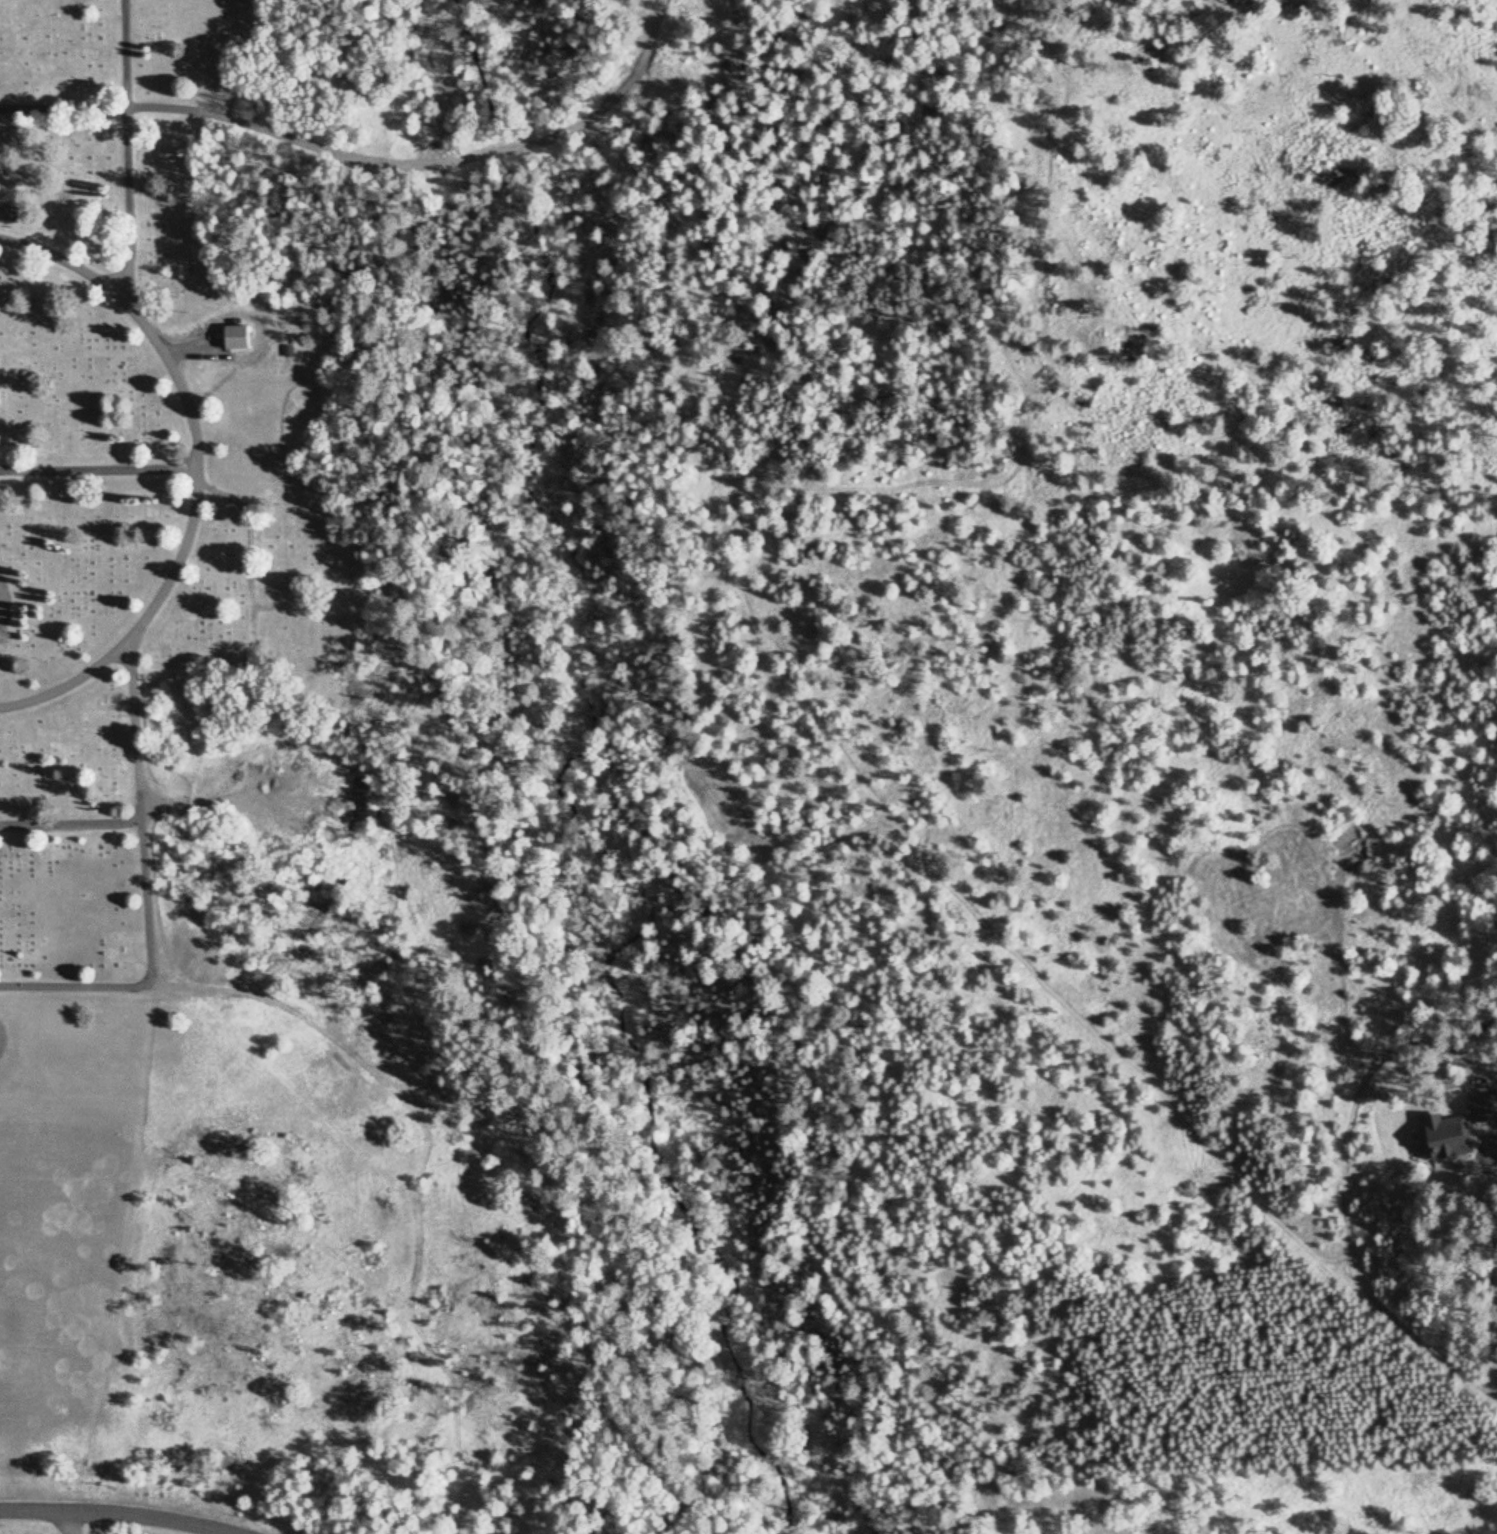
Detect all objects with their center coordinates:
road: (122, 147)
road: (366, 164)
building: (8, 216)
building: (239, 340)
road: (99, 471)
road: (198, 472)
road: (2, 605)
park: (315, 685)
road: (72, 820)
road: (149, 889)
road: (114, 1517)
road: (72, 1524)

